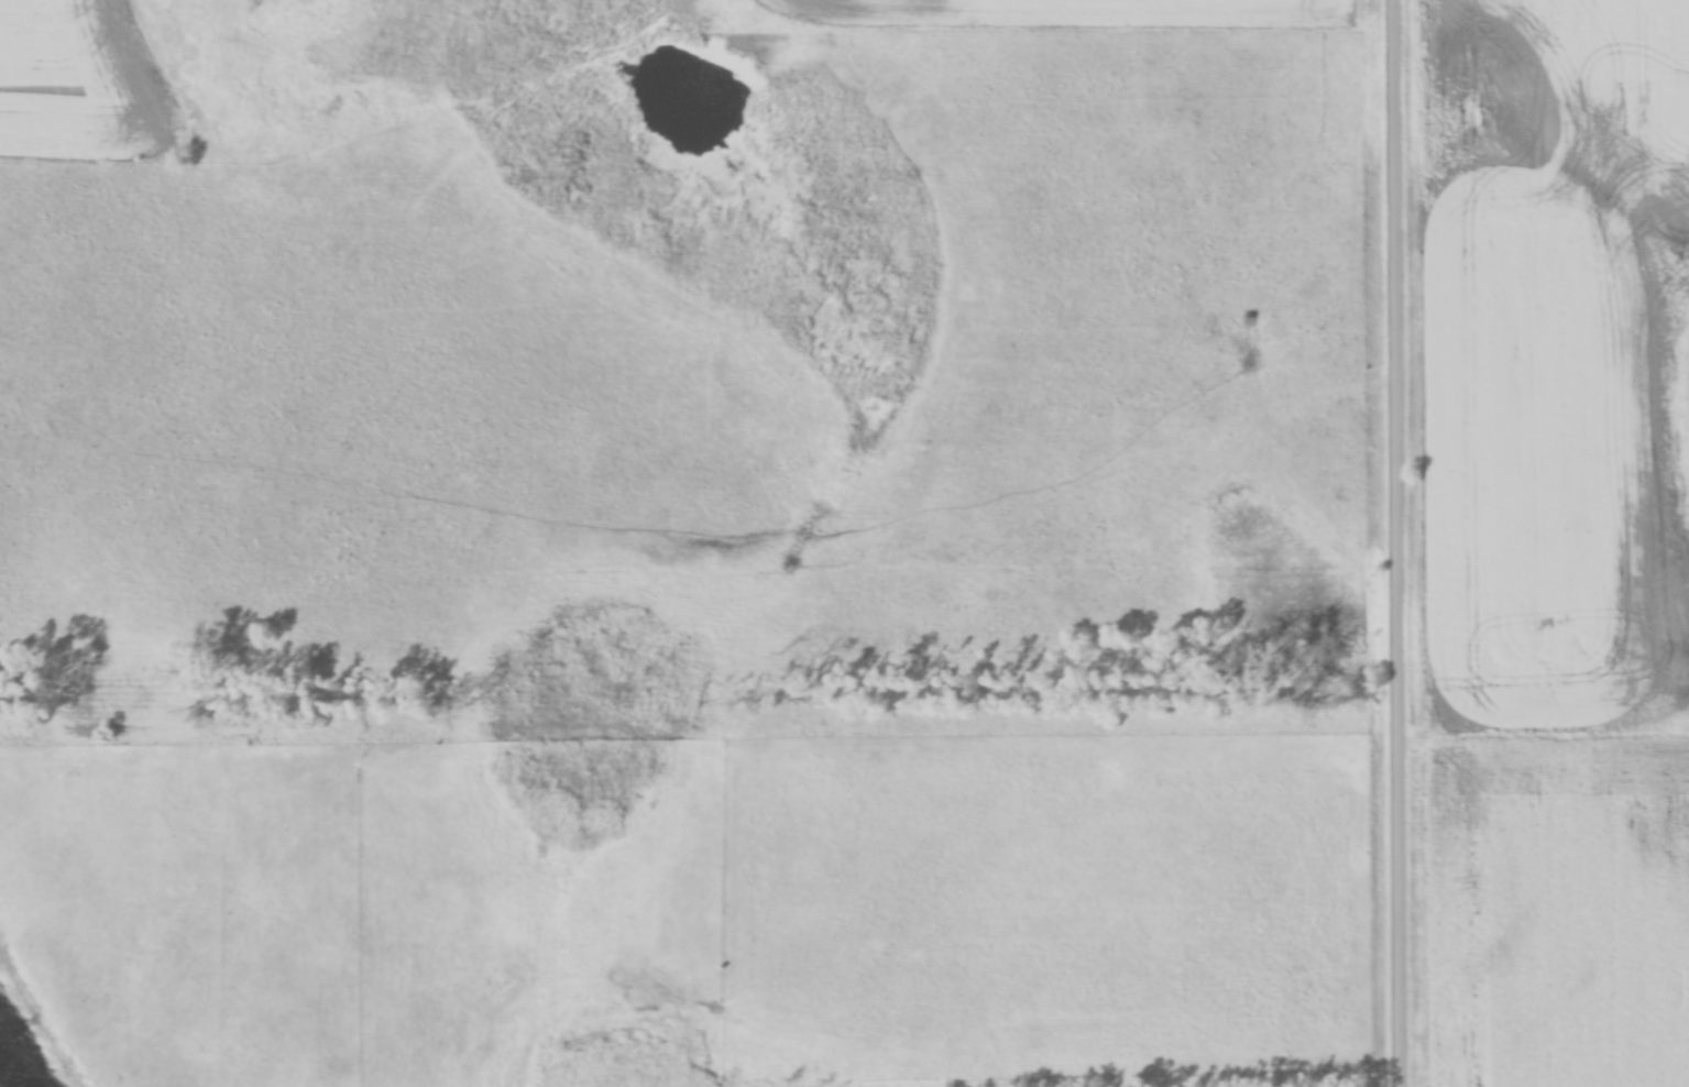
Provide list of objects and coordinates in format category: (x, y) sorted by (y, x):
road: (1399, 543)

